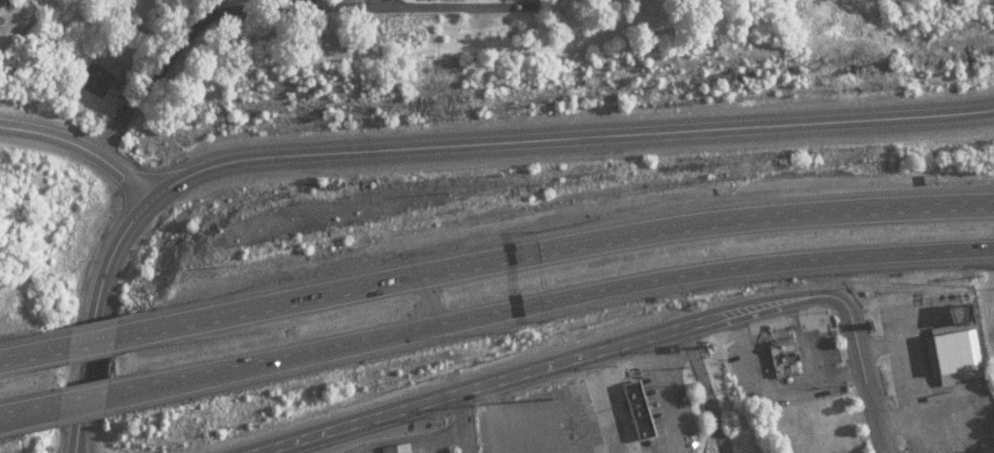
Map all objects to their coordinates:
road: (466, 6)
building: (96, 79)
road: (568, 134)
road: (82, 145)
road: (557, 248)
road: (430, 298)
road: (551, 299)
road: (95, 316)
road: (930, 320)
road: (85, 343)
road: (22, 356)
building: (956, 357)
building: (789, 359)
road: (540, 367)
road: (865, 370)
road: (917, 372)
road: (842, 376)
road: (663, 388)
road: (710, 388)
road: (793, 388)
road: (83, 396)
road: (25, 406)
building: (644, 414)
road: (466, 422)
building: (399, 449)

